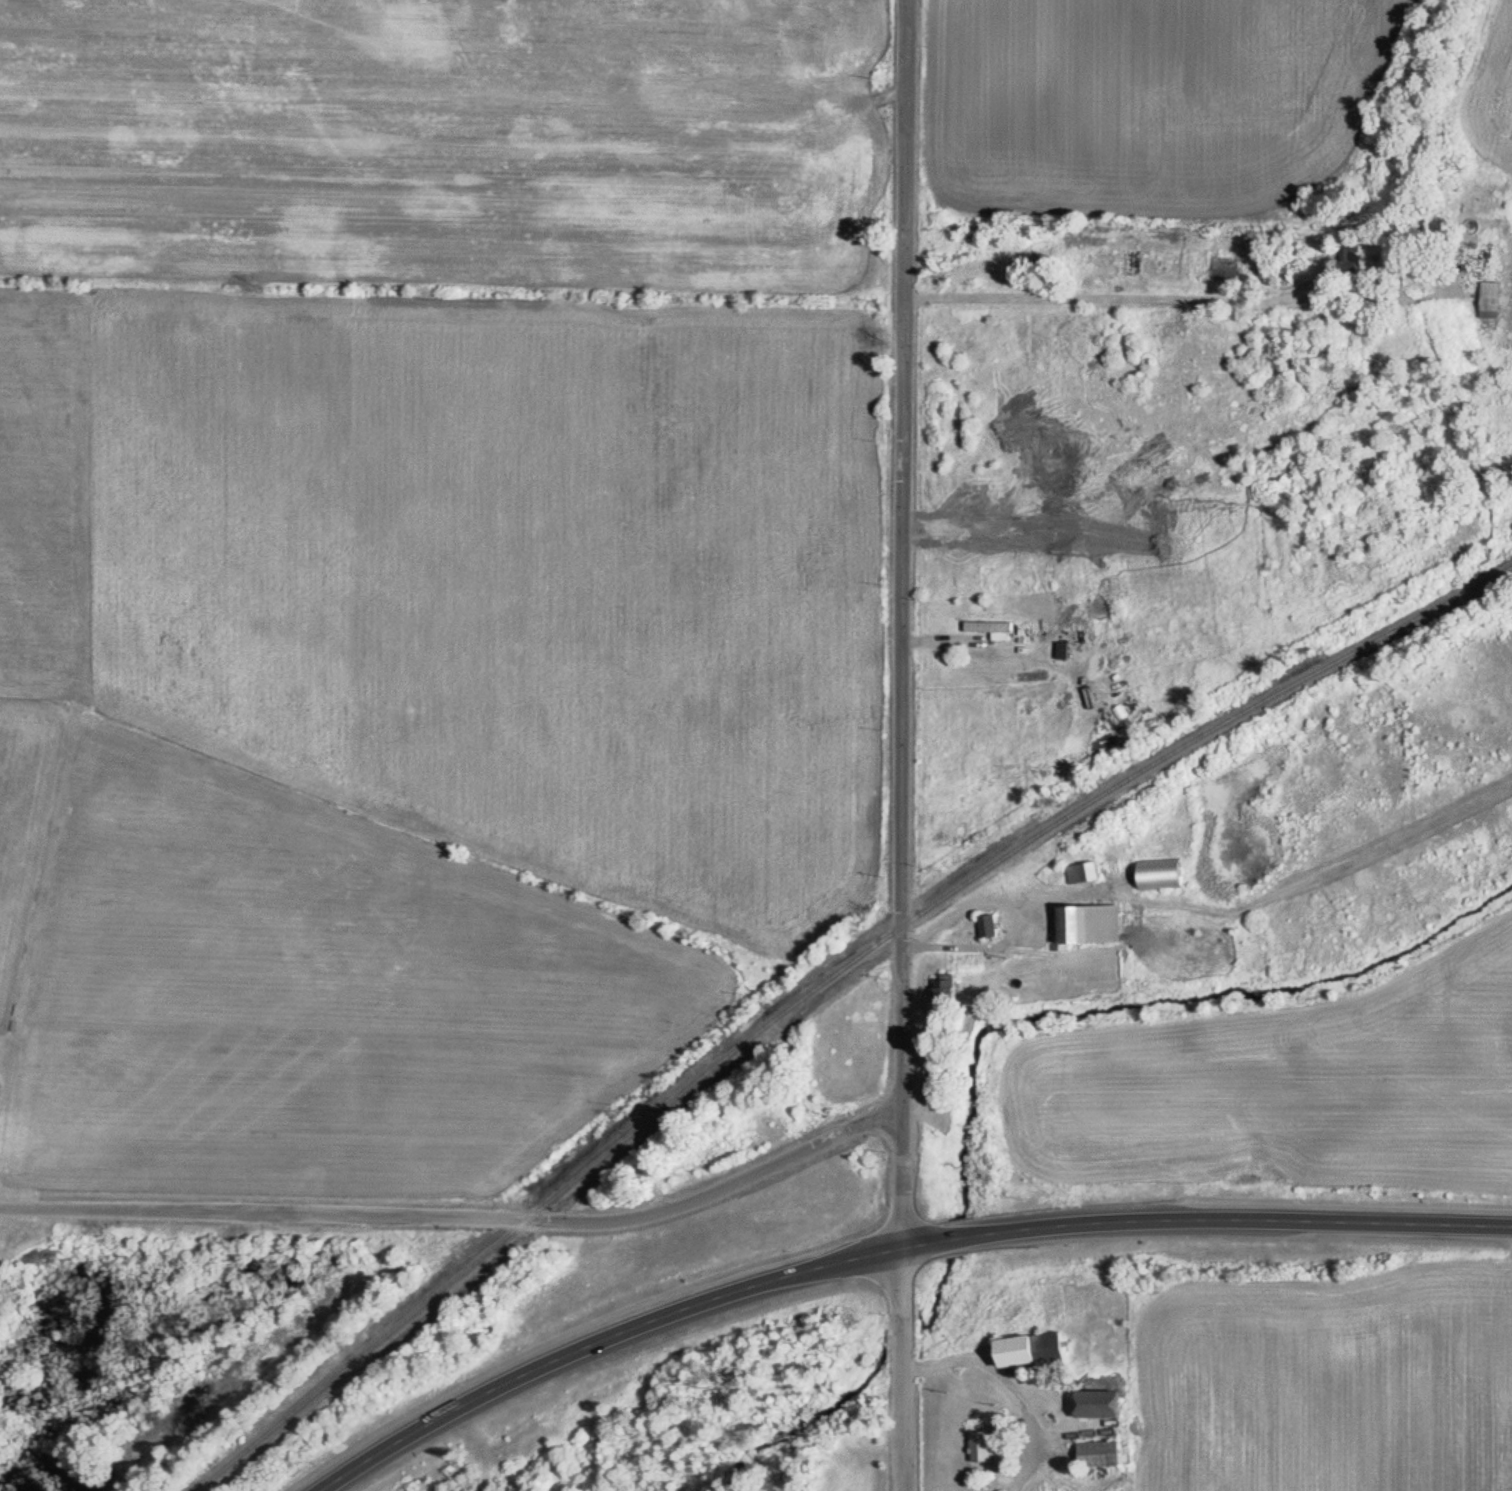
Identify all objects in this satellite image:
building: (1357, 260)
building: (1231, 272)
road: (1181, 299)
building: (1495, 303)
road: (894, 625)
building: (997, 633)
building: (1069, 653)
building: (1087, 876)
building: (1164, 877)
road: (1012, 912)
building: (1097, 927)
building: (992, 930)
railway: (828, 986)
building: (951, 993)
road: (465, 1222)
road: (895, 1252)
building: (1036, 1354)
road: (907, 1370)
road: (1011, 1389)
building: (1105, 1407)
building: (993, 1452)
building: (1105, 1457)

